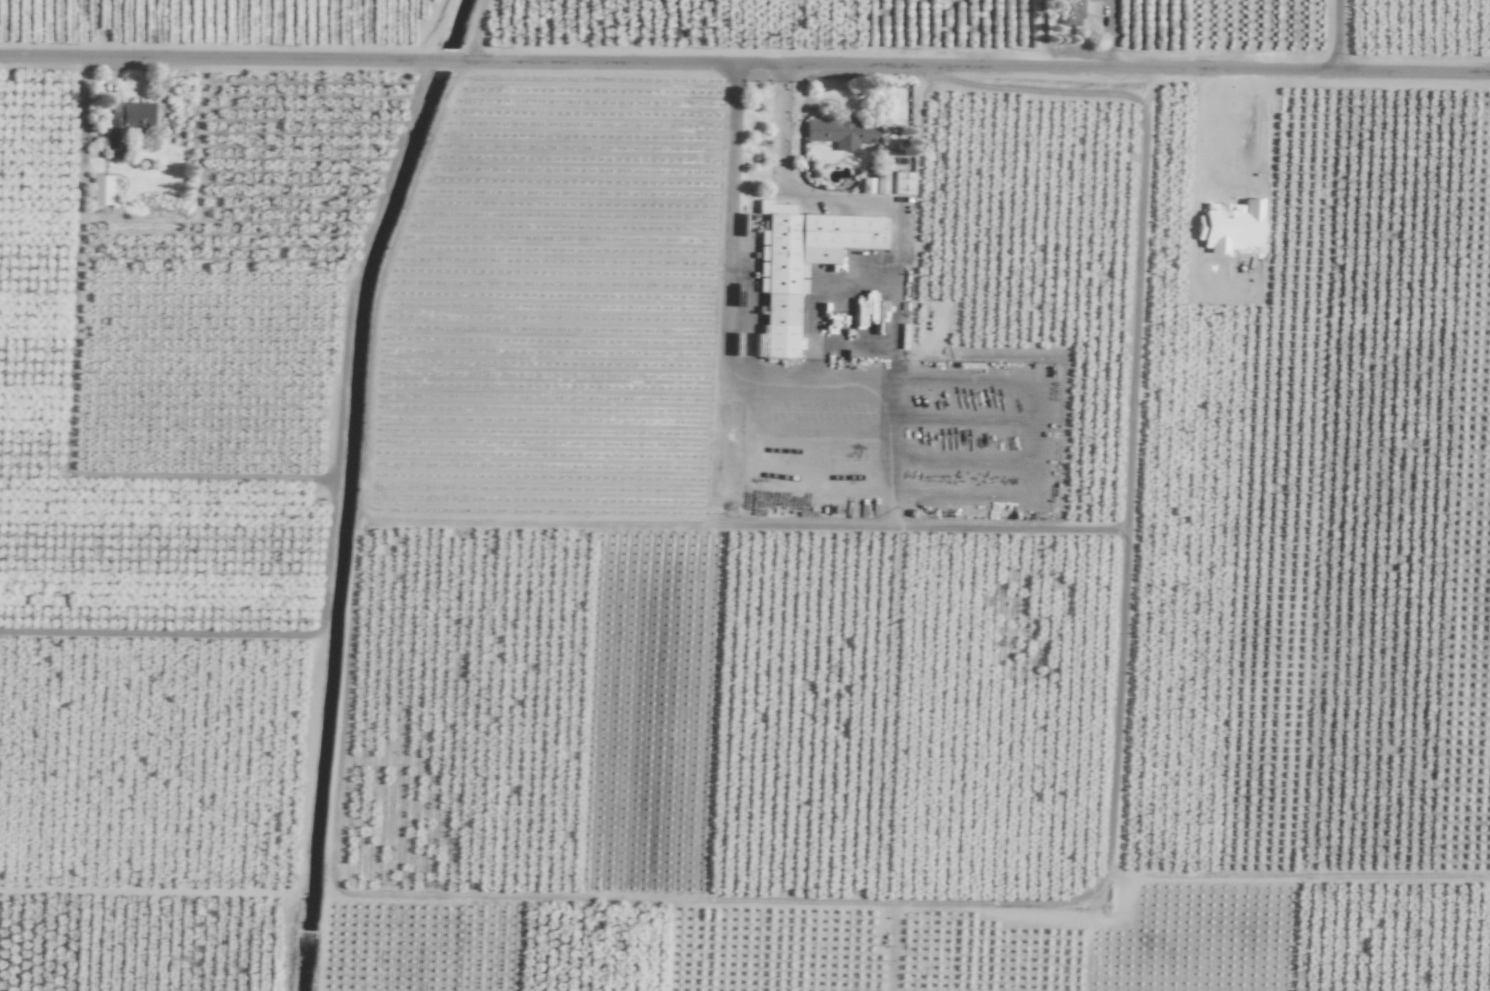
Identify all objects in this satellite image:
building: (1071, 11)
road: (1352, 40)
road: (745, 64)
building: (903, 183)
building: (101, 190)
building: (804, 263)
road: (852, 393)
road: (1129, 483)

